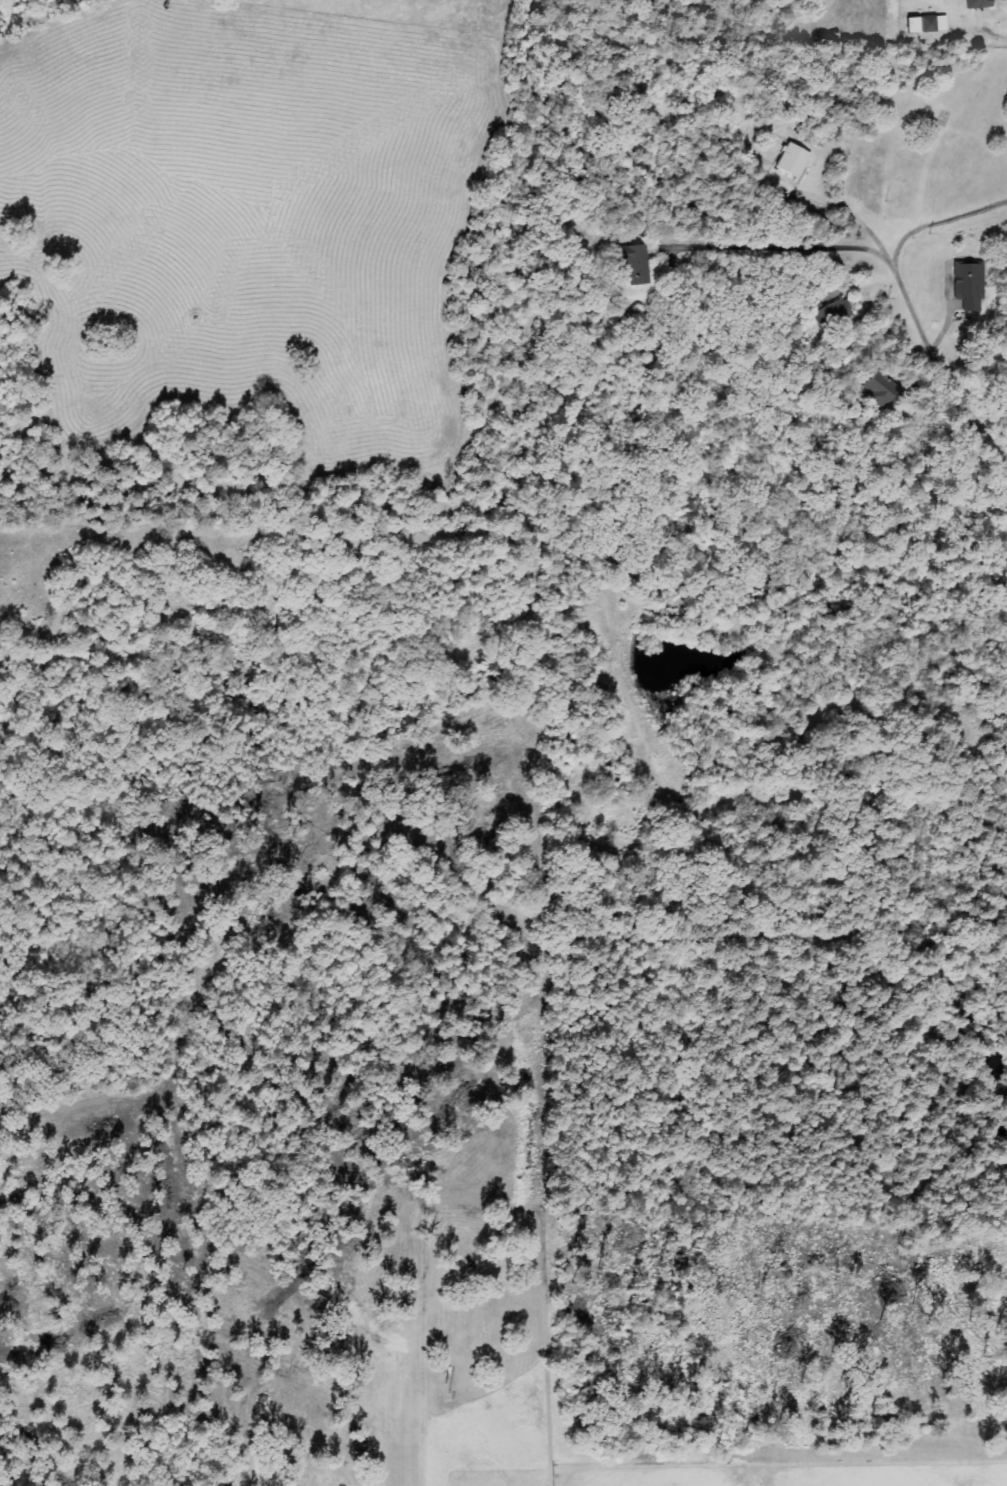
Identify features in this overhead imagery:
building: (979, 4)
building: (926, 24)
building: (794, 159)
building: (637, 264)
building: (969, 284)
building: (831, 312)
road: (928, 345)
building: (882, 388)

